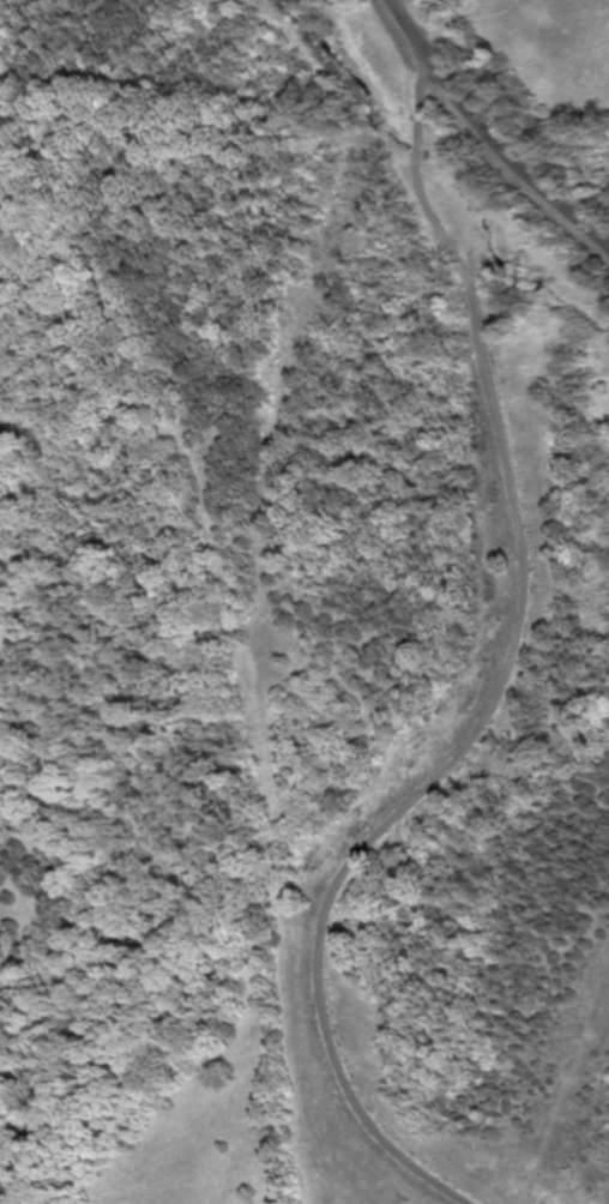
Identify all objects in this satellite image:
road: (492, 136)
road: (508, 680)

